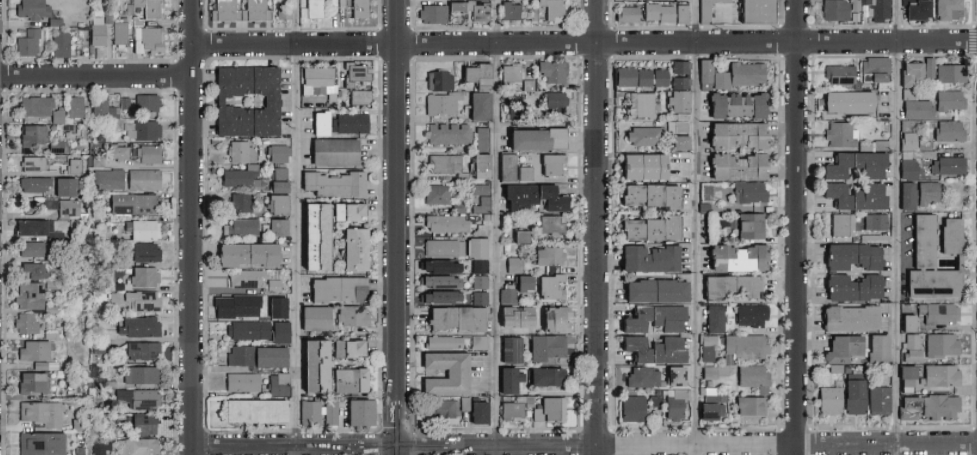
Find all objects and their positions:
building: (658, 0)
building: (147, 8)
building: (30, 9)
building: (310, 9)
building: (358, 9)
building: (458, 9)
building: (709, 9)
building: (915, 9)
building: (239, 10)
building: (945, 10)
building: (549, 11)
building: (836, 11)
building: (511, 12)
building: (758, 12)
building: (282, 13)
building: (481, 14)
building: (626, 14)
building: (659, 14)
building: (433, 15)
building: (682, 15)
building: (455, 18)
road: (497, 21)
road: (696, 21)
road: (295, 22)
building: (96, 30)
building: (118, 33)
building: (148, 38)
road: (584, 42)
building: (26, 43)
building: (58, 43)
building: (873, 68)
building: (927, 69)
building: (551, 71)
building: (474, 72)
building: (355, 73)
building: (509, 73)
building: (948, 73)
building: (730, 74)
building: (909, 74)
building: (678, 75)
building: (838, 75)
road: (97, 76)
building: (639, 77)
building: (436, 81)
building: (319, 82)
building: (526, 85)
building: (358, 97)
building: (950, 99)
building: (554, 100)
building: (244, 101)
building: (678, 101)
building: (846, 102)
building: (123, 103)
building: (145, 103)
building: (440, 103)
building: (639, 104)
building: (33, 106)
building: (71, 106)
building: (478, 106)
building: (713, 106)
building: (743, 106)
building: (98, 107)
building: (914, 109)
building: (112, 112)
building: (55, 116)
building: (677, 117)
building: (352, 122)
building: (321, 123)
building: (675, 127)
building: (142, 130)
building: (947, 130)
building: (447, 134)
building: (839, 134)
building: (30, 135)
building: (735, 135)
building: (642, 136)
building: (481, 138)
building: (533, 139)
building: (678, 143)
building: (54, 146)
building: (867, 147)
building: (337, 151)
building: (117, 152)
building: (240, 152)
building: (275, 153)
building: (147, 154)
building: (907, 156)
building: (31, 163)
building: (443, 163)
building: (550, 164)
building: (74, 166)
building: (480, 166)
building: (642, 166)
building: (853, 166)
building: (945, 166)
building: (736, 167)
building: (511, 169)
building: (278, 173)
building: (108, 178)
building: (235, 178)
building: (141, 179)
building: (34, 184)
building: (330, 184)
building: (64, 186)
building: (276, 187)
building: (479, 189)
building: (748, 192)
building: (926, 192)
building: (437, 195)
building: (647, 196)
building: (854, 196)
building: (905, 196)
building: (530, 197)
building: (238, 202)
building: (132, 203)
building: (275, 204)
building: (482, 205)
building: (57, 207)
building: (351, 212)
road: (398, 213)
building: (874, 221)
building: (448, 223)
building: (549, 224)
building: (841, 224)
building: (748, 226)
road: (193, 227)
building: (239, 227)
building: (275, 227)
road: (598, 227)
road: (795, 227)
road: (895, 227)
building: (27, 228)
building: (144, 229)
building: (647, 229)
building: (313, 232)
building: (54, 236)
building: (519, 236)
building: (948, 236)
building: (443, 248)
building: (474, 248)
road: (495, 248)
road: (696, 248)
building: (30, 249)
road: (295, 249)
building: (355, 249)
building: (144, 251)
building: (245, 254)
building: (547, 256)
building: (851, 256)
building: (646, 258)
building: (735, 258)
building: (512, 265)
building: (926, 265)
building: (437, 266)
building: (478, 266)
building: (30, 271)
building: (143, 276)
building: (253, 279)
building: (437, 282)
building: (478, 282)
building: (522, 282)
building: (550, 287)
building: (729, 287)
building: (851, 288)
building: (335, 290)
building: (654, 291)
building: (506, 295)
building: (26, 296)
building: (437, 297)
building: (478, 298)
building: (136, 300)
building: (241, 303)
building: (938, 313)
building: (749, 315)
building: (351, 316)
building: (454, 318)
building: (516, 318)
building: (714, 318)
building: (847, 318)
building: (312, 319)
building: (553, 319)
building: (652, 319)
building: (906, 323)
building: (23, 324)
building: (137, 326)
building: (258, 331)
building: (442, 342)
building: (476, 342)
building: (940, 345)
building: (545, 346)
building: (744, 346)
building: (707, 348)
building: (840, 348)
building: (876, 348)
building: (910, 348)
building: (344, 349)
building: (510, 349)
building: (141, 350)
building: (652, 350)
building: (32, 351)
building: (255, 356)
building: (314, 364)
building: (714, 371)
building: (504, 372)
building: (454, 373)
building: (140, 375)
building: (939, 375)
building: (546, 376)
building: (673, 376)
building: (642, 377)
building: (752, 377)
building: (905, 378)
building: (345, 381)
building: (241, 382)
building: (28, 383)
building: (277, 384)
building: (853, 397)
building: (135, 398)
building: (710, 398)
building: (654, 400)
building: (828, 400)
building: (878, 400)
building: (674, 405)
building: (748, 406)
building: (938, 407)
building: (631, 409)
building: (909, 409)
building: (444, 410)
building: (473, 410)
building: (548, 410)
building: (252, 411)
building: (510, 411)
building: (709, 411)
building: (329, 412)
building: (308, 413)
building: (357, 413)
building: (39, 414)
building: (142, 424)
road: (394, 426)
road: (886, 443)
building: (38, 444)
road: (696, 446)
building: (137, 447)
road: (505, 447)
building: (100, 448)
road: (284, 448)

